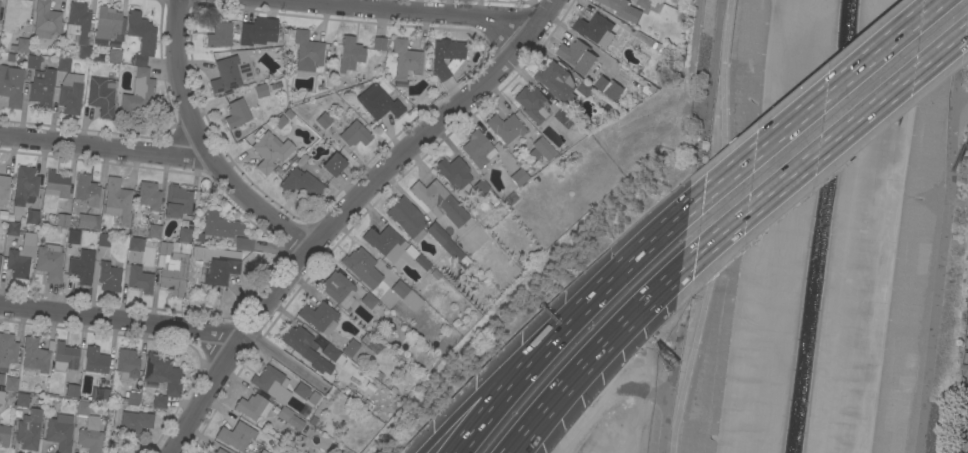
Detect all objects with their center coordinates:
building: (644, 3)
building: (623, 10)
road: (429, 12)
building: (15, 14)
building: (78, 19)
building: (46, 20)
building: (108, 25)
building: (593, 27)
road: (694, 31)
building: (258, 32)
building: (141, 35)
building: (219, 35)
building: (379, 43)
building: (21, 45)
building: (657, 47)
building: (84, 51)
building: (307, 51)
building: (352, 52)
building: (114, 54)
building: (446, 56)
building: (577, 56)
building: (406, 59)
building: (33, 61)
building: (63, 63)
building: (230, 73)
building: (359, 77)
building: (556, 81)
building: (11, 84)
building: (386, 86)
building: (649, 86)
building: (42, 87)
building: (272, 87)
building: (585, 88)
building: (610, 89)
building: (261, 90)
building: (70, 92)
building: (138, 92)
building: (101, 94)
road: (823, 100)
building: (378, 102)
building: (533, 103)
building: (236, 113)
building: (289, 114)
building: (565, 117)
building: (324, 120)
building: (280, 122)
building: (506, 127)
building: (355, 134)
road: (833, 141)
road: (204, 144)
road: (106, 147)
building: (478, 148)
building: (542, 149)
building: (271, 150)
building: (301, 160)
building: (333, 164)
building: (455, 174)
building: (519, 177)
building: (301, 183)
building: (25, 185)
building: (4, 186)
building: (480, 186)
building: (86, 190)
building: (55, 191)
building: (149, 195)
building: (511, 198)
building: (117, 200)
building: (177, 201)
building: (439, 203)
road: (346, 212)
building: (33, 216)
building: (406, 218)
building: (62, 219)
building: (88, 221)
building: (221, 226)
river: (824, 226)
building: (12, 228)
road: (716, 228)
building: (154, 231)
building: (184, 233)
building: (73, 236)
building: (103, 239)
building: (385, 241)
building: (243, 242)
building: (136, 243)
building: (446, 243)
building: (411, 251)
building: (214, 253)
building: (0, 256)
building: (20, 260)
building: (50, 261)
building: (422, 261)
building: (172, 265)
building: (82, 266)
building: (362, 267)
road: (625, 269)
building: (220, 270)
building: (109, 276)
building: (140, 279)
building: (338, 288)
building: (406, 295)
building: (368, 300)
building: (319, 316)
road: (125, 320)
building: (297, 337)
building: (370, 343)
building: (350, 347)
road: (599, 347)
building: (7, 350)
building: (329, 351)
building: (36, 354)
building: (65, 356)
building: (298, 356)
building: (95, 360)
road: (289, 360)
building: (127, 364)
road: (513, 366)
building: (162, 374)
building: (378, 375)
building: (11, 383)
building: (271, 383)
building: (301, 389)
building: (72, 390)
building: (395, 390)
building: (99, 393)
road: (503, 395)
building: (1, 397)
building: (313, 397)
building: (132, 398)
road: (565, 398)
building: (22, 399)
building: (159, 400)
building: (368, 405)
building: (252, 406)
building: (112, 416)
building: (289, 417)
building: (314, 420)
road: (447, 423)
building: (134, 424)
building: (29, 429)
building: (89, 429)
building: (59, 431)
building: (4, 435)
building: (240, 438)
building: (217, 451)
building: (318, 451)

